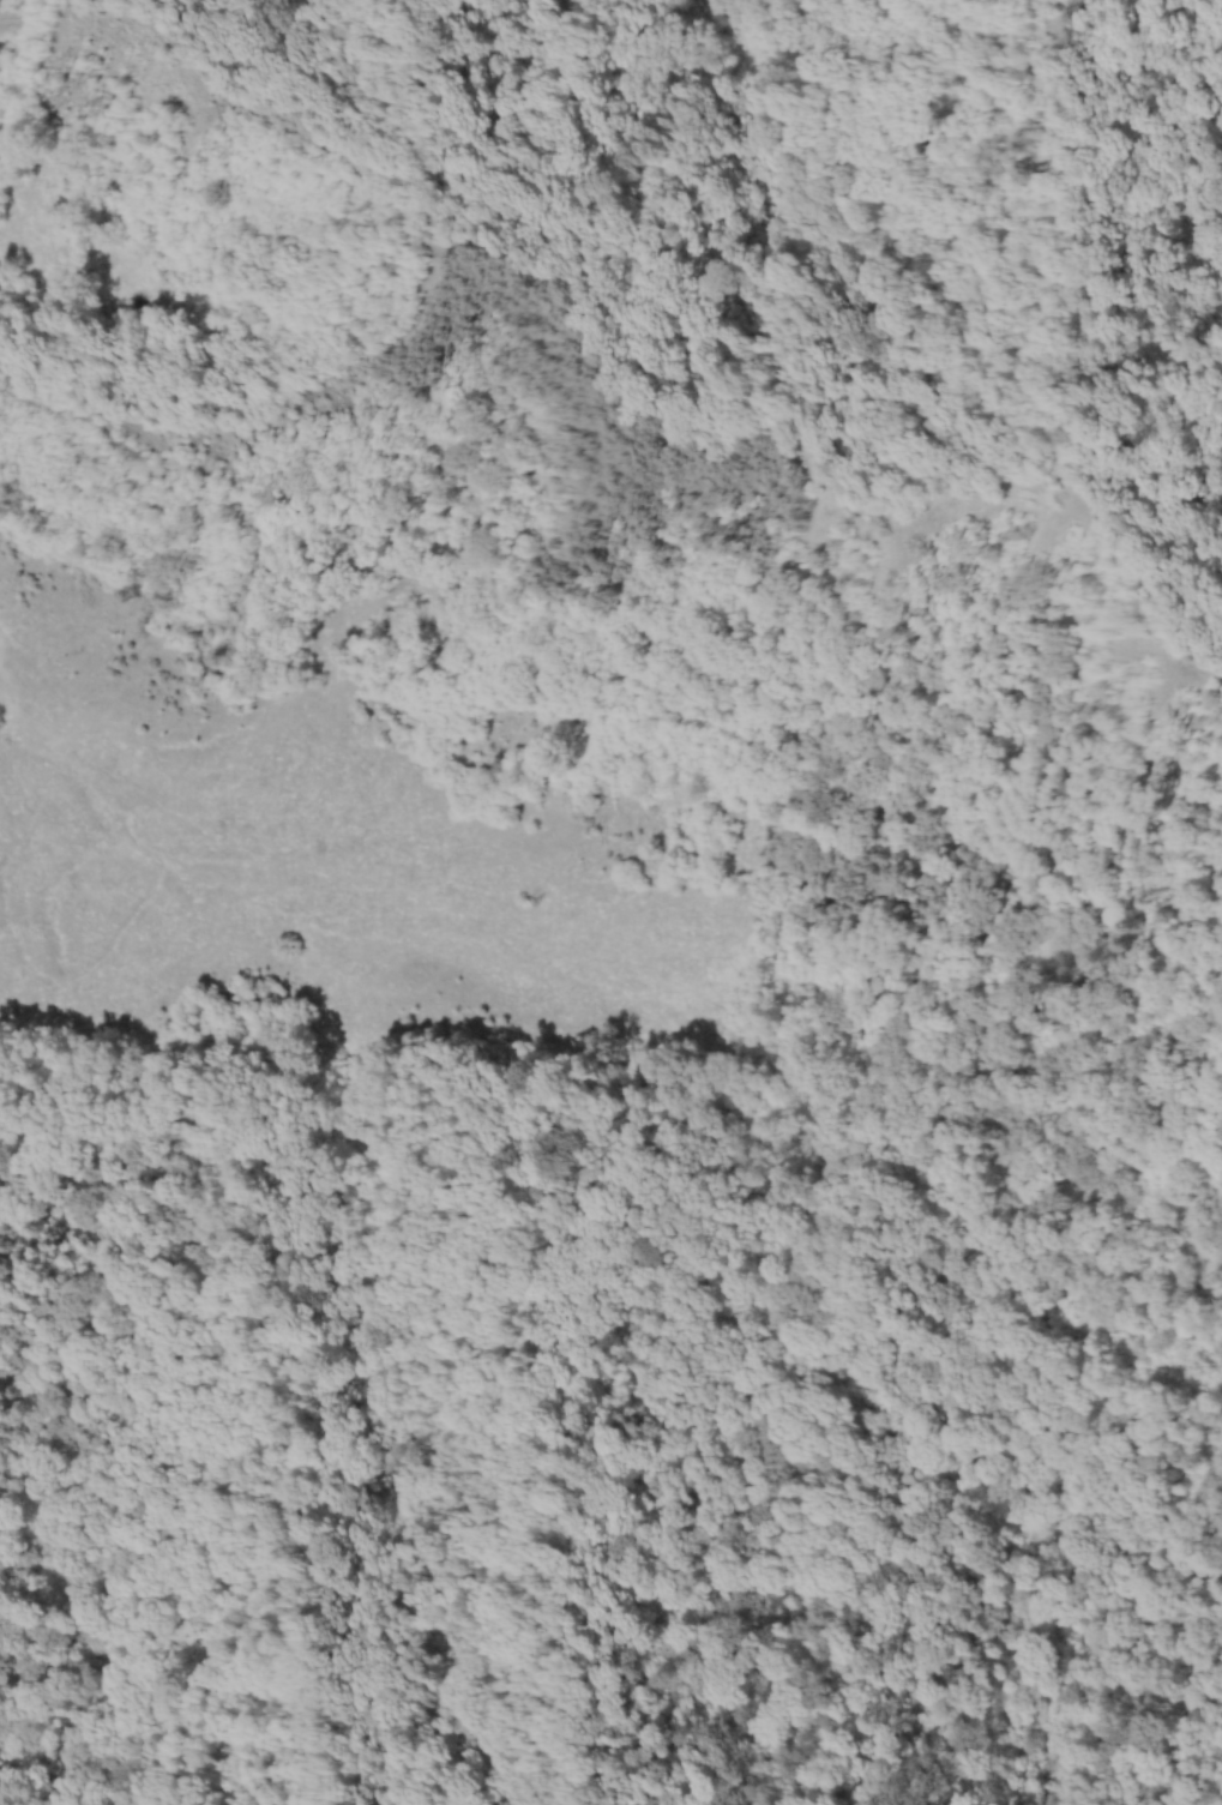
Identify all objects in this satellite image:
road: (1049, 482)

